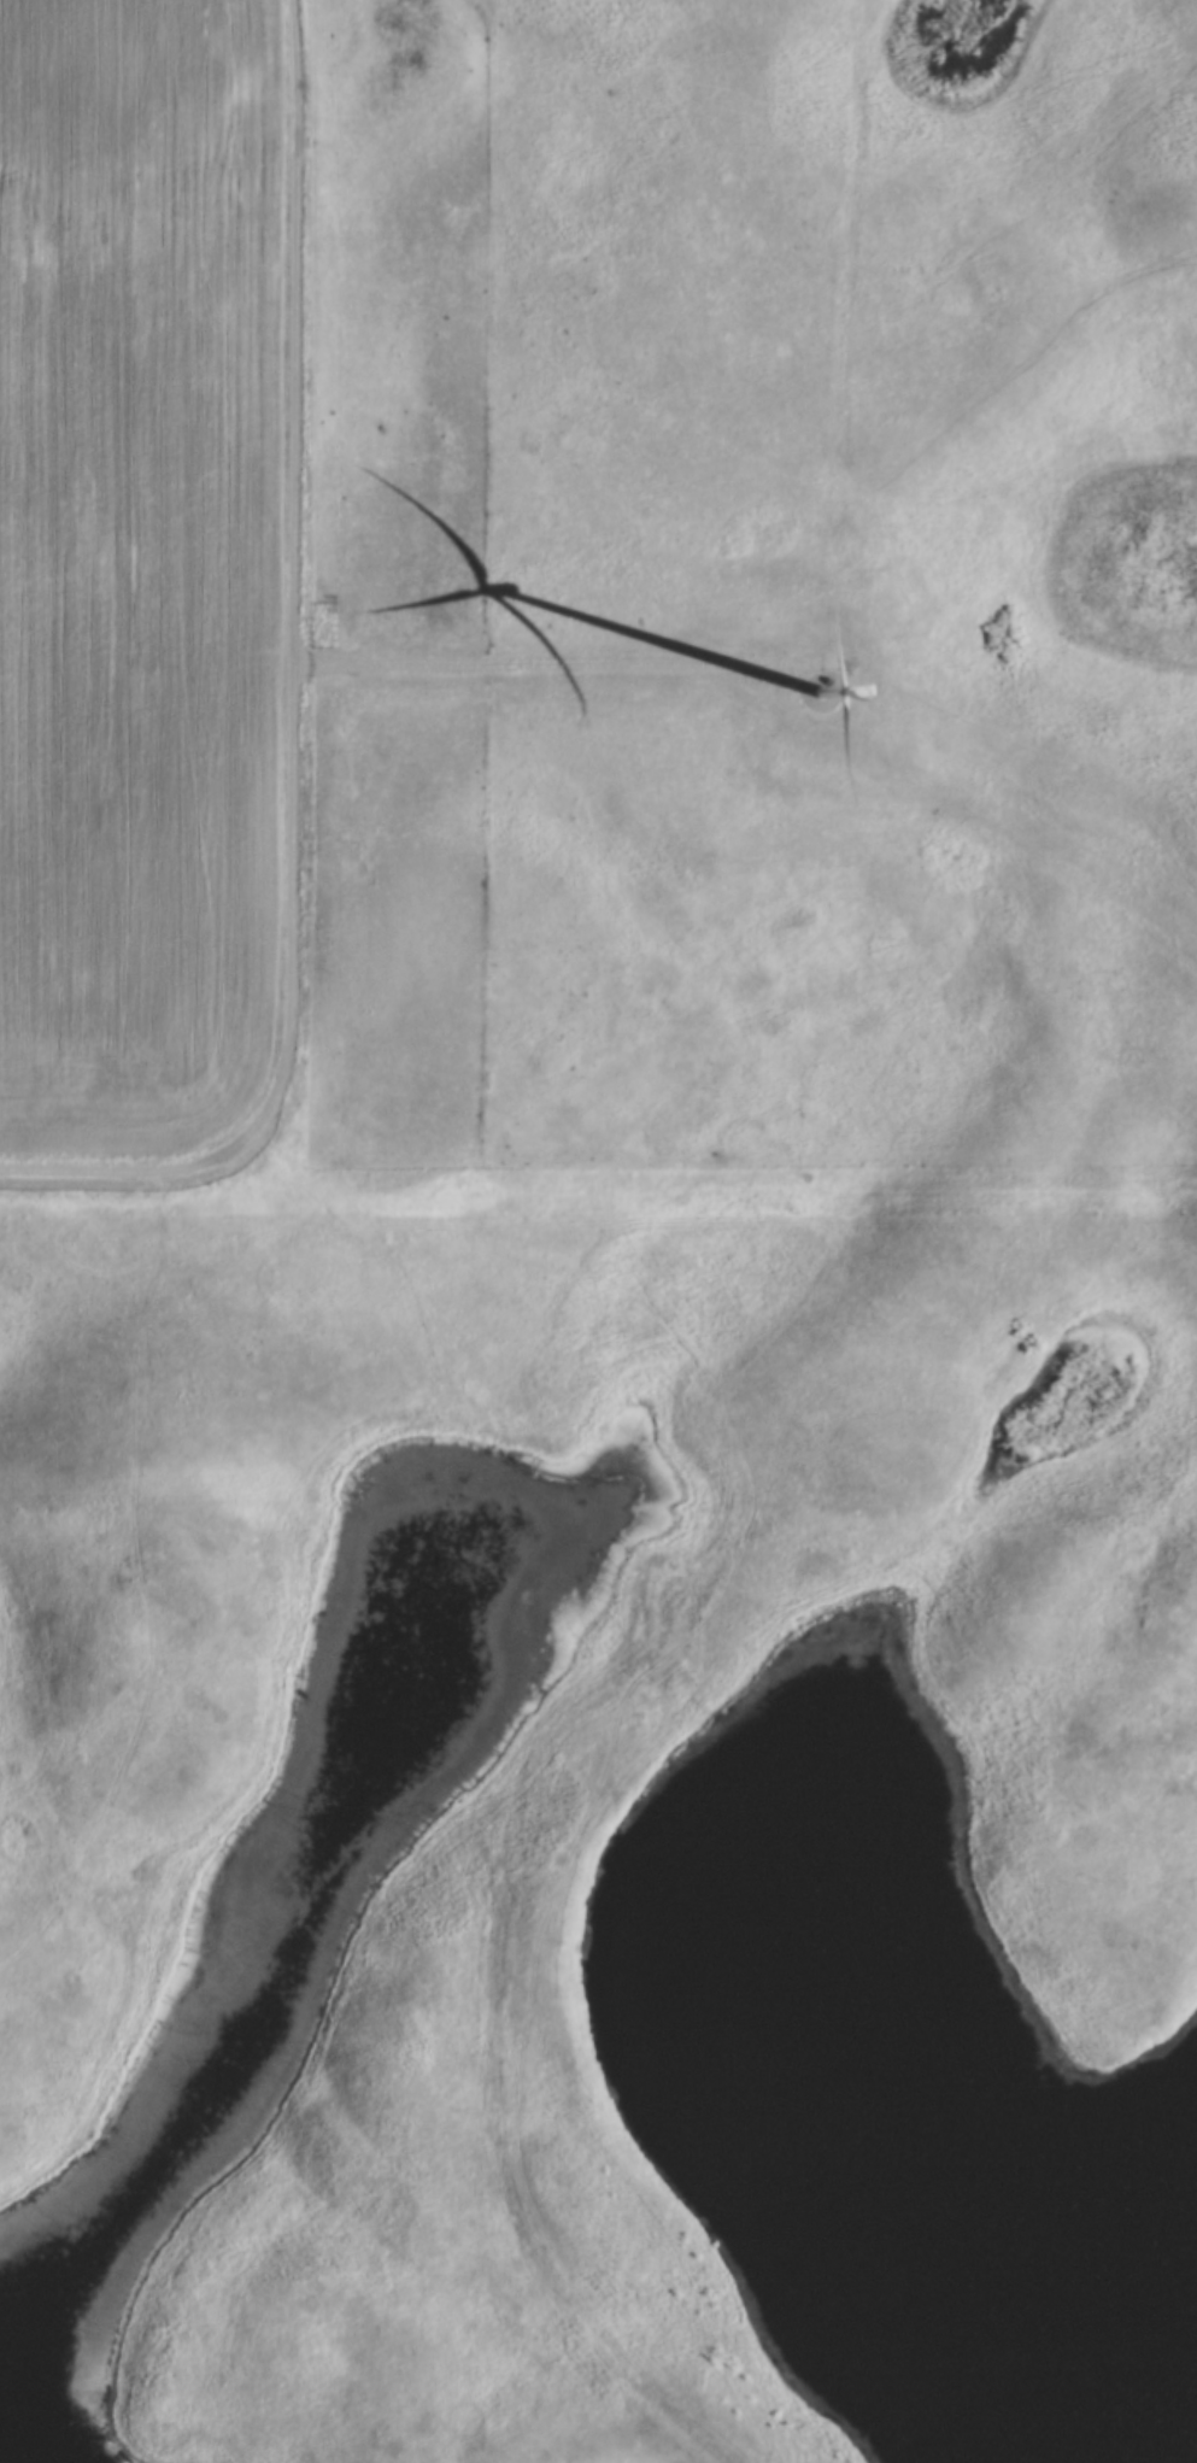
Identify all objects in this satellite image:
wind turbine: (820, 693)
road: (293, 703)

